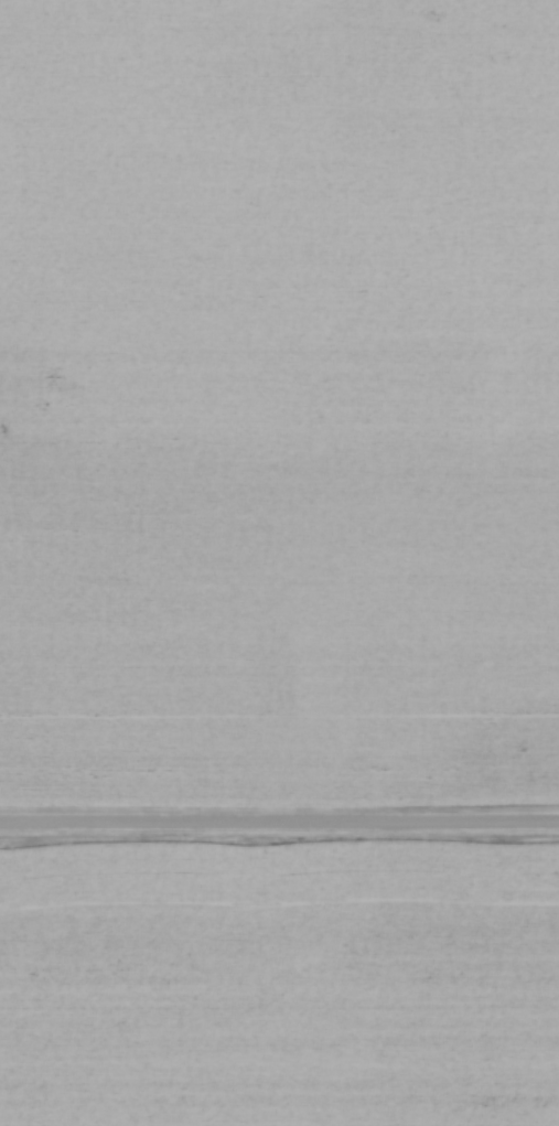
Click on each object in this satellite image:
road: (279, 817)

